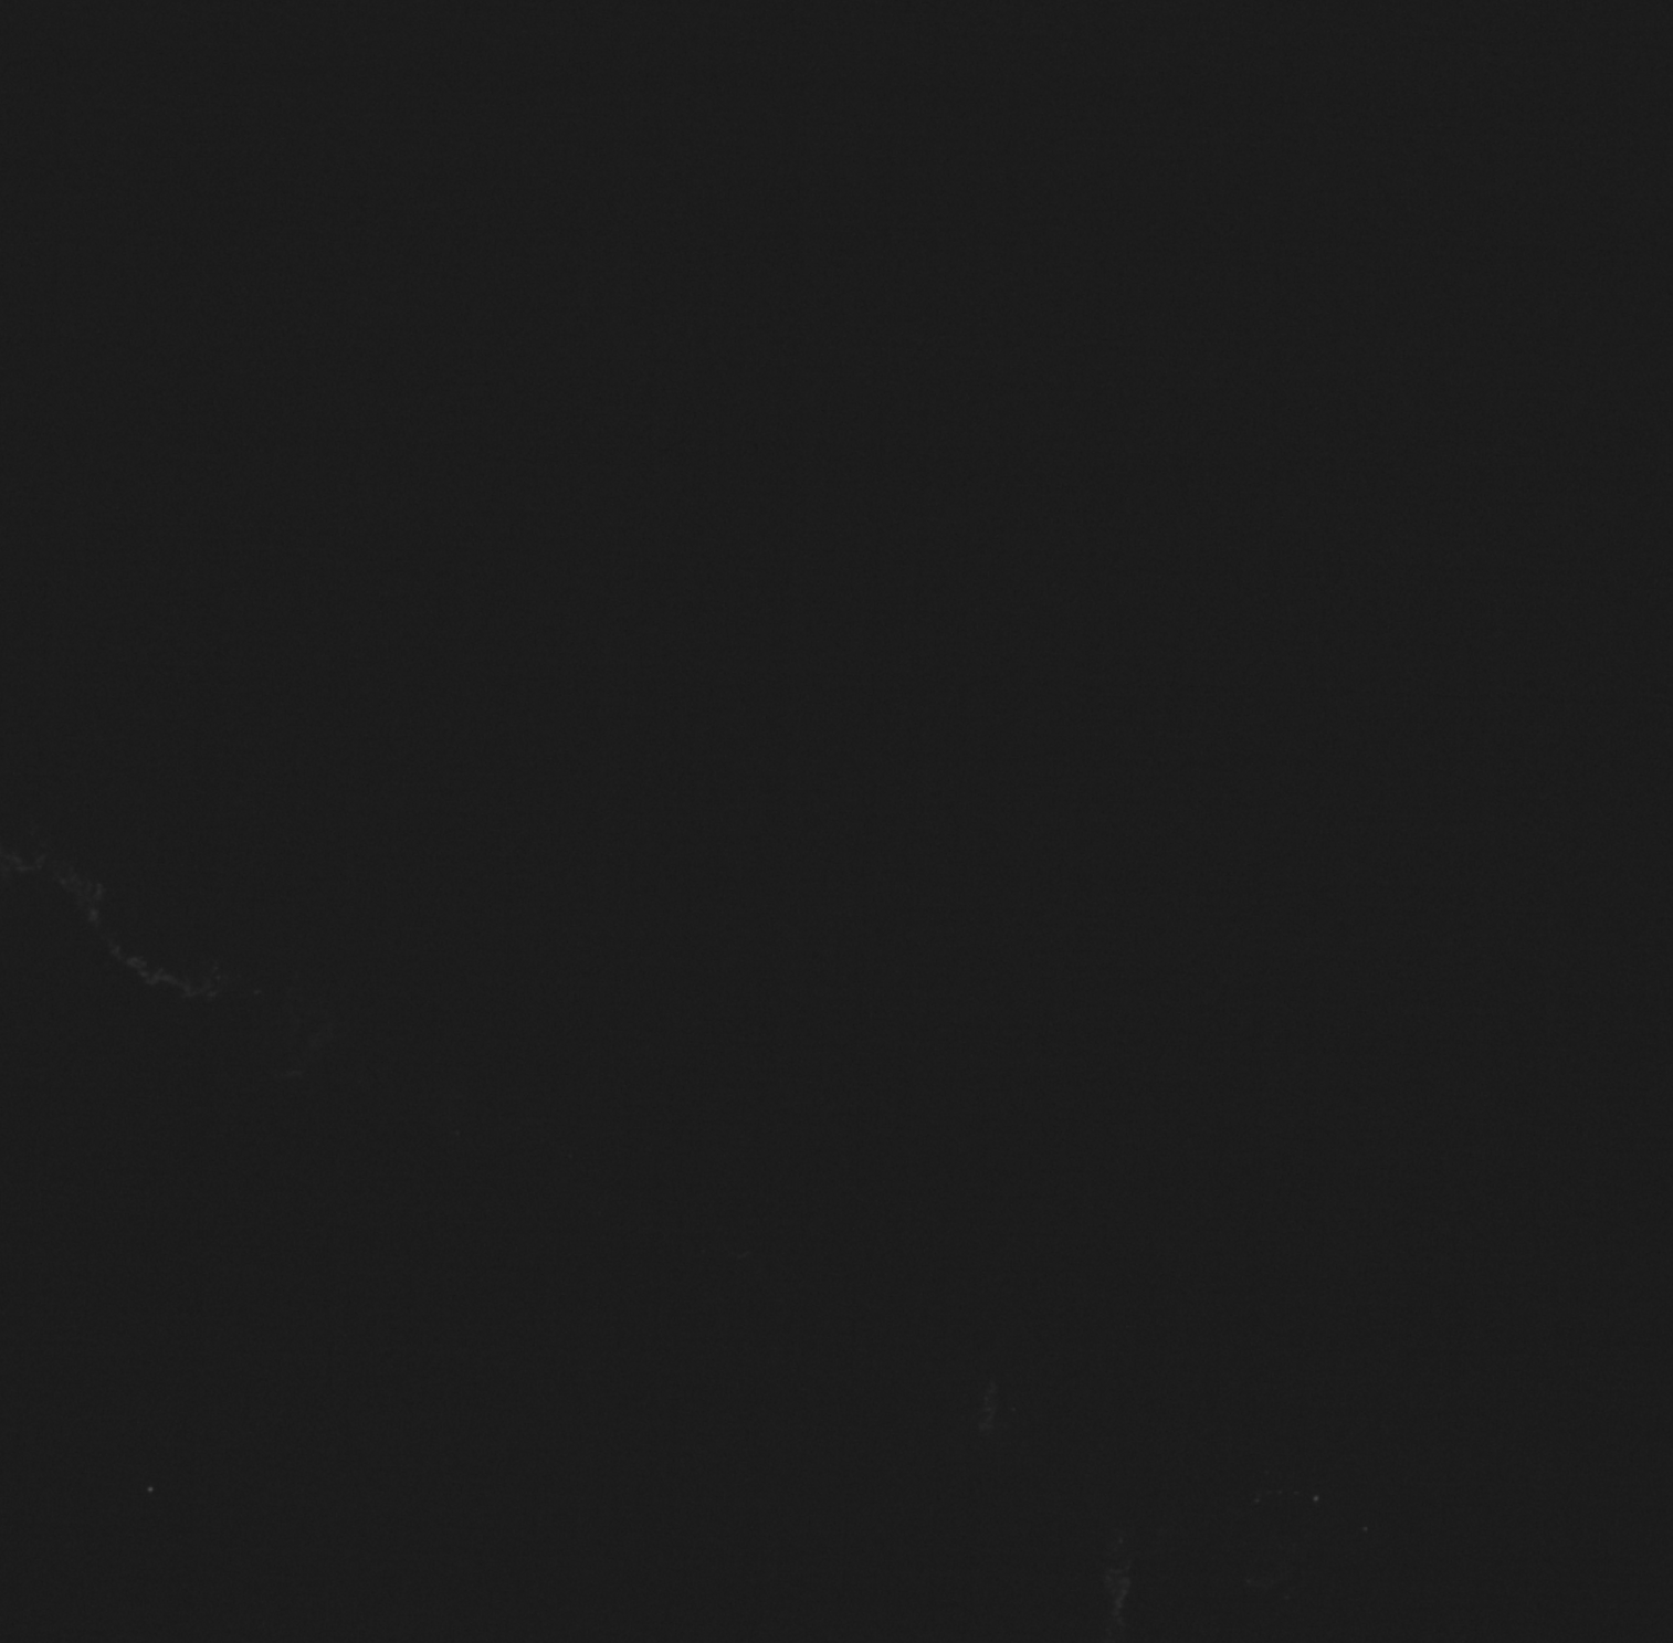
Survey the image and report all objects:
river: (823, 1066)

